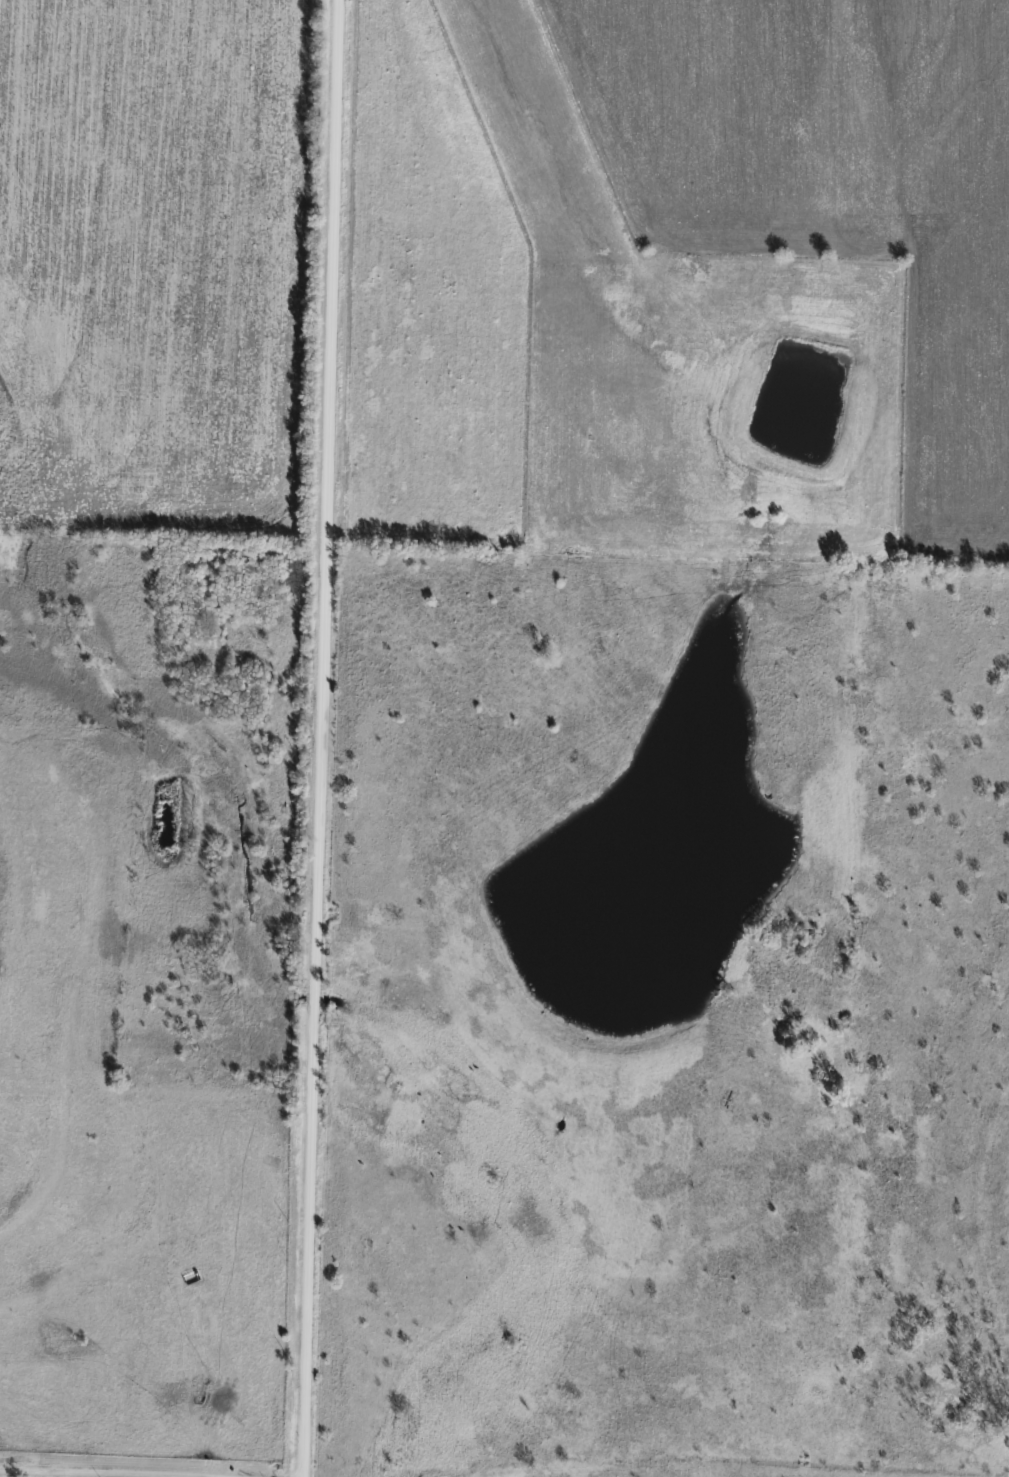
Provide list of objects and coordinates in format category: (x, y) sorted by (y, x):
road: (319, 738)
road: (3, 1476)

